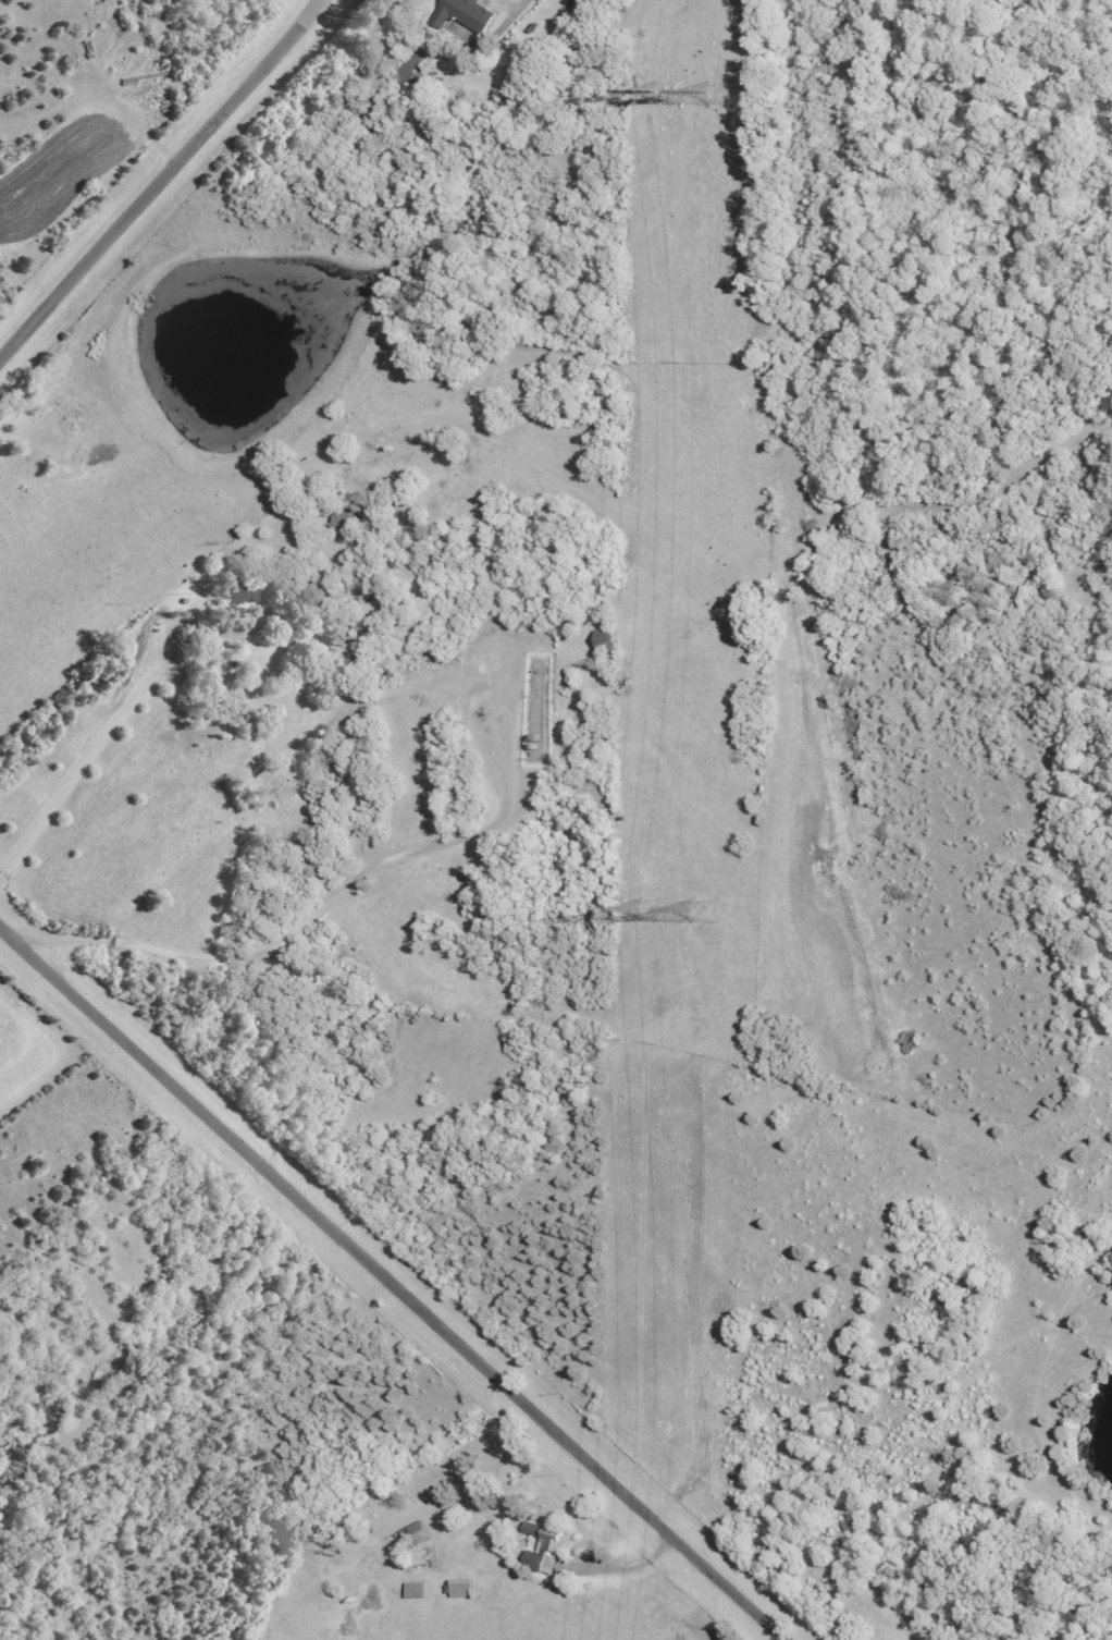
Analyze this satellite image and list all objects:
building: (456, 14)
building: (409, 62)
power tower: (655, 89)
power tower: (709, 96)
road: (158, 178)
building: (338, 522)
building: (595, 641)
power tower: (694, 911)
power tower: (648, 913)
road: (393, 1281)
building: (407, 1537)
building: (536, 1553)
building: (453, 1589)
building: (407, 1591)

